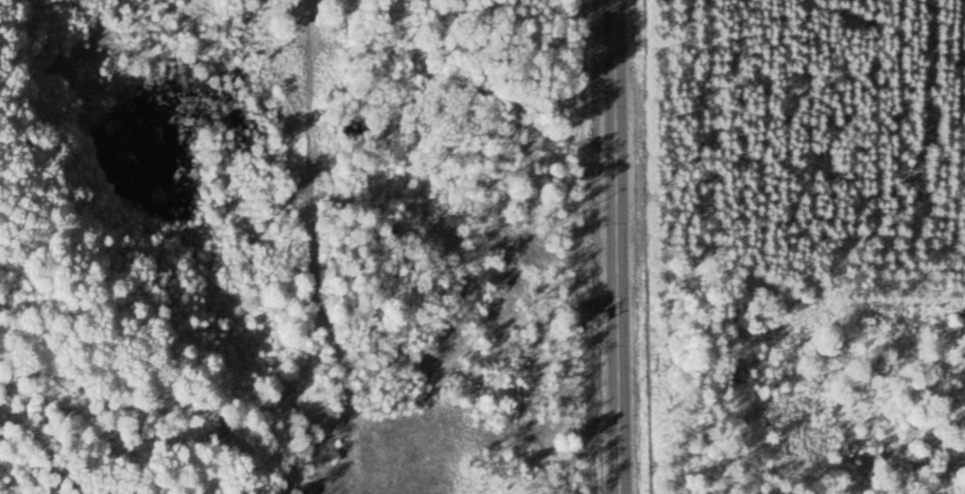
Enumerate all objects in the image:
road: (617, 247)
road: (321, 249)

